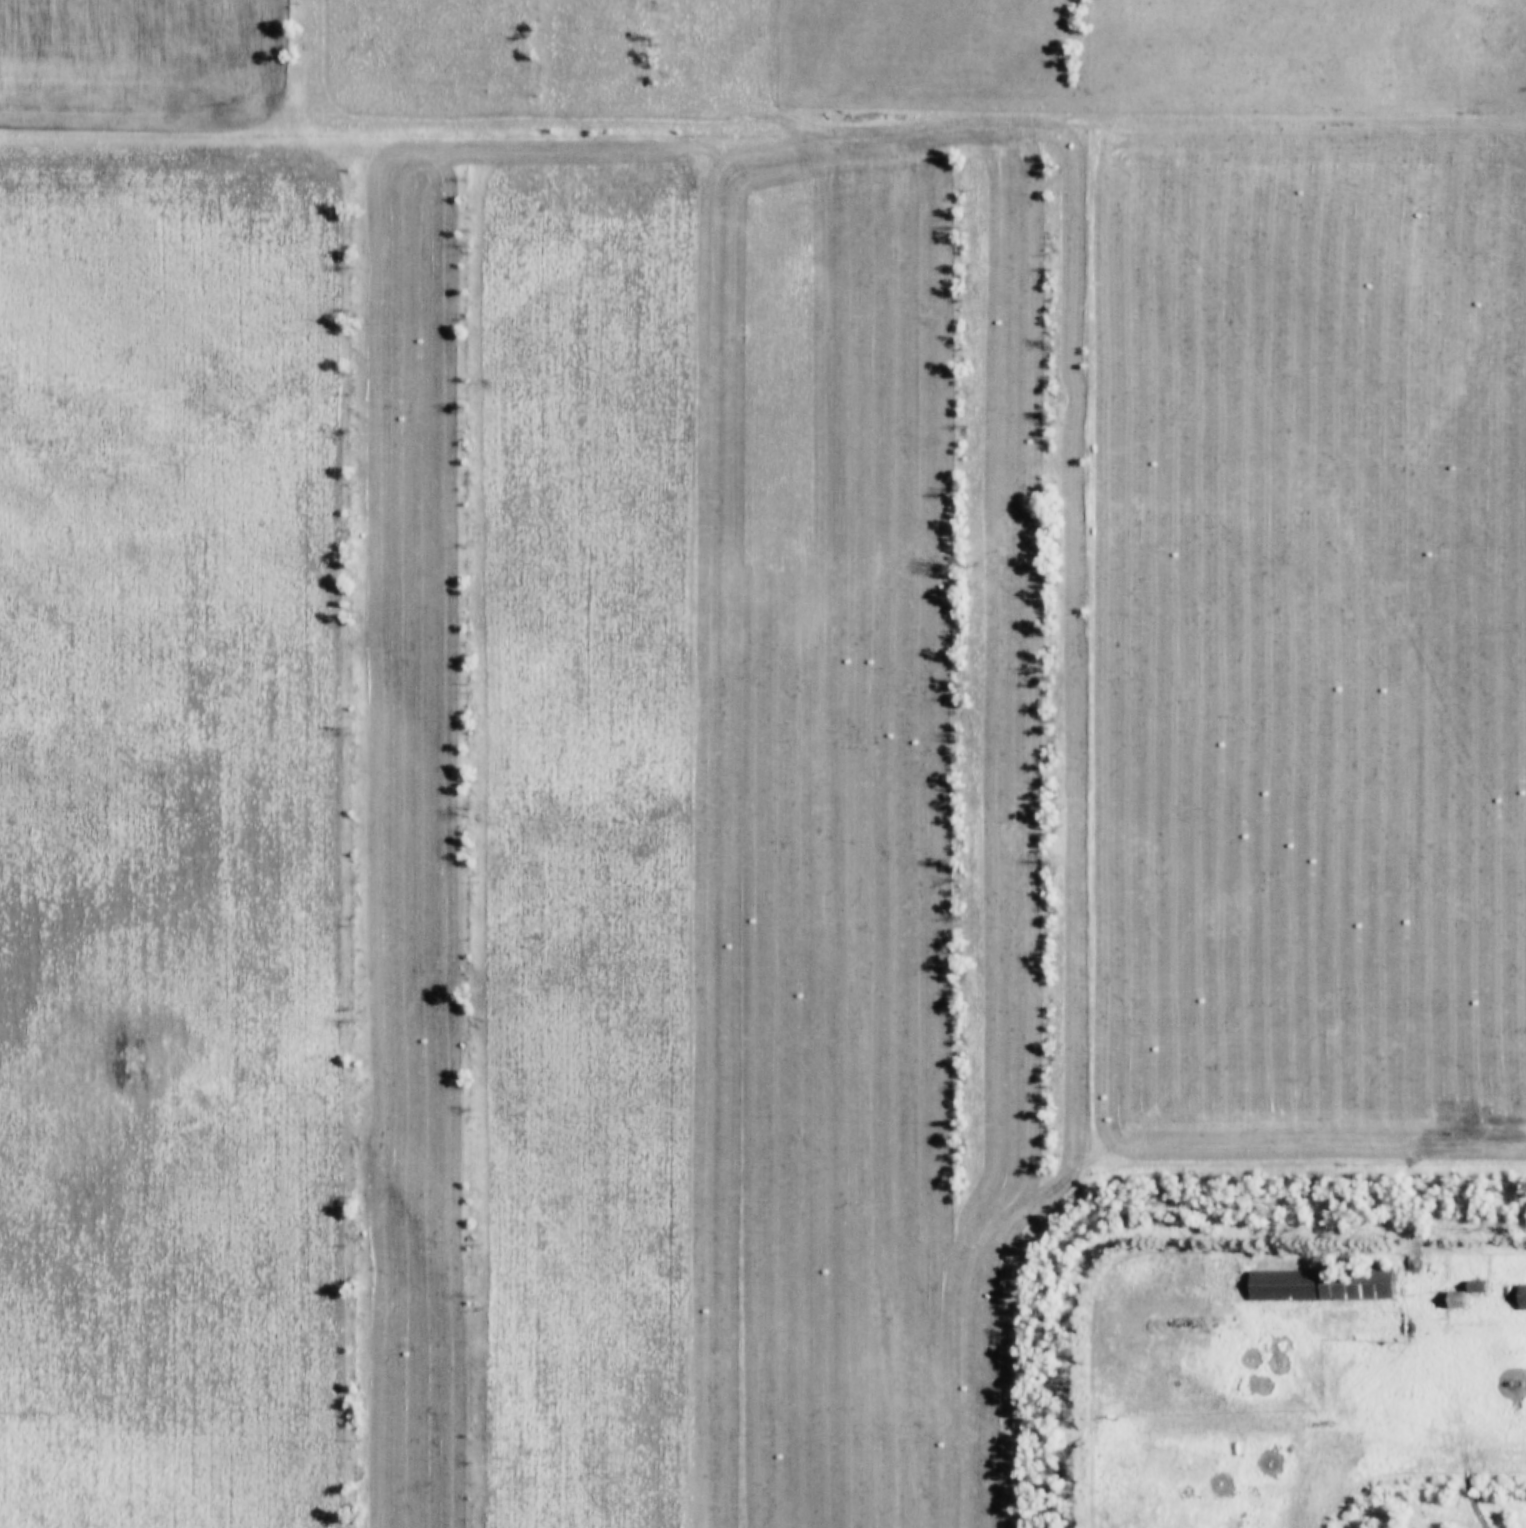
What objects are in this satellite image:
building: (1467, 1282)
building: (1313, 1284)
building: (1471, 1288)
building: (1519, 1298)
building: (1448, 1301)

